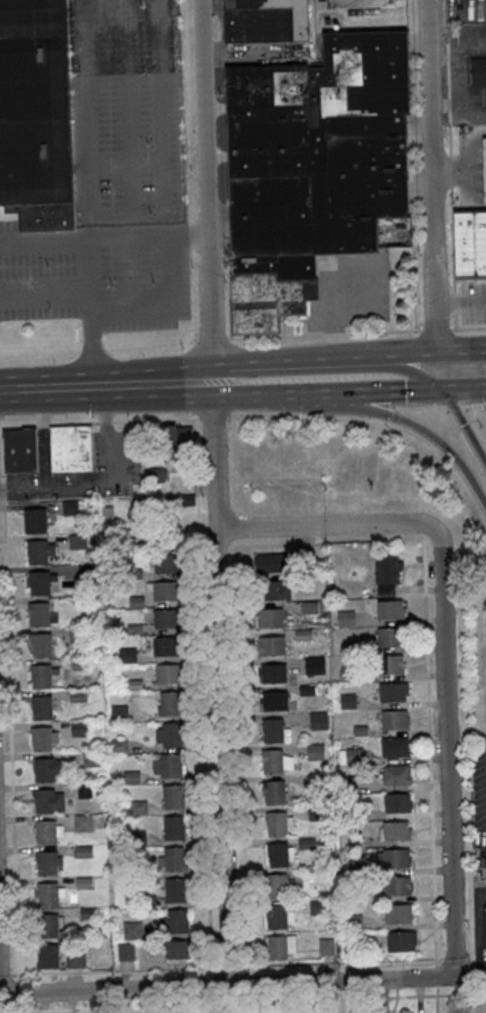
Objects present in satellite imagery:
building: (265, 19)
building: (479, 70)
street lamp: (145, 73)
road: (219, 74)
road: (447, 78)
parking lot: (135, 104)
road: (90, 107)
road: (130, 108)
road: (158, 109)
building: (36, 113)
street lamp: (148, 143)
road: (221, 155)
building: (484, 160)
building: (312, 164)
road: (484, 170)
road: (450, 171)
road: (456, 172)
road: (430, 175)
road: (221, 182)
road: (207, 190)
street lamp: (151, 212)
road: (129, 216)
road: (222, 226)
road: (96, 228)
road: (452, 238)
road: (132, 239)
building: (470, 242)
road: (48, 243)
street lamp: (46, 265)
road: (131, 275)
parking lot: (94, 280)
street lamp: (153, 280)
road: (88, 282)
street lamp: (112, 285)
road: (228, 293)
road: (170, 294)
road: (44, 298)
road: (473, 300)
road: (447, 301)
road: (454, 302)
parking lot: (473, 302)
street lamp: (49, 306)
road: (334, 317)
road: (454, 321)
flagpole: (289, 322)
flagpole: (305, 322)
road: (468, 328)
street lamp: (367, 329)
road: (435, 330)
flagpole: (289, 332)
road: (333, 333)
road: (382, 333)
road: (399, 333)
road: (276, 336)
road: (211, 338)
road: (195, 339)
road: (400, 344)
street lamp: (184, 349)
road: (461, 349)
road: (92, 354)
road: (391, 354)
road: (293, 371)
road: (198, 381)
road: (227, 381)
road: (141, 384)
road: (71, 387)
road: (270, 388)
road: (21, 390)
road: (465, 392)
traffic signals: (444, 393)
road: (372, 394)
street lamp: (484, 408)
road: (362, 409)
road: (213, 416)
street lamp: (92, 417)
street lamp: (302, 419)
road: (99, 422)
building: (178, 434)
road: (43, 437)
building: (70, 447)
building: (21, 456)
building: (163, 468)
road: (99, 478)
building: (107, 517)
building: (36, 520)
road: (333, 538)
building: (78, 541)
building: (37, 552)
building: (273, 561)
building: (167, 563)
building: (388, 574)
building: (39, 583)
building: (273, 589)
building: (163, 590)
building: (392, 609)
building: (39, 613)
building: (270, 617)
building: (166, 618)
building: (346, 618)
building: (304, 634)
building: (390, 636)
building: (42, 644)
building: (272, 645)
road: (445, 645)
building: (166, 646)
building: (127, 655)
building: (390, 664)
building: (314, 665)
building: (273, 672)
building: (168, 673)
building: (41, 676)
road: (218, 683)
building: (392, 692)
road: (203, 693)
road: (10, 699)
building: (274, 699)
building: (169, 703)
building: (43, 708)
building: (118, 712)
building: (394, 719)
building: (318, 720)
building: (79, 727)
building: (273, 729)
building: (168, 734)
building: (43, 738)
building: (395, 747)
building: (316, 751)
building: (355, 755)
building: (91, 758)
building: (272, 760)
building: (171, 765)
building: (43, 769)
building: (396, 774)
building: (85, 790)
building: (275, 791)
building: (173, 796)
building: (44, 800)
parking lot: (479, 800)
building: (397, 802)
building: (83, 822)
building: (276, 823)
building: (173, 827)
building: (397, 830)
building: (47, 832)
building: (84, 851)
building: (278, 853)
building: (396, 857)
building: (171, 858)
building: (48, 863)
building: (277, 884)
building: (397, 885)
building: (176, 889)
building: (48, 894)
building: (317, 907)
building: (399, 913)
building: (276, 916)
building: (175, 921)
building: (48, 926)
road: (481, 926)
building: (133, 930)
building: (400, 940)
building: (277, 946)
building: (326, 946)
building: (126, 952)
building: (177, 952)
building: (49, 956)
building: (75, 959)
road: (336, 961)
road: (228, 966)
road: (109, 970)
road: (435, 972)
road: (222, 986)
road: (243, 1001)
power substation: (476, 1004)

